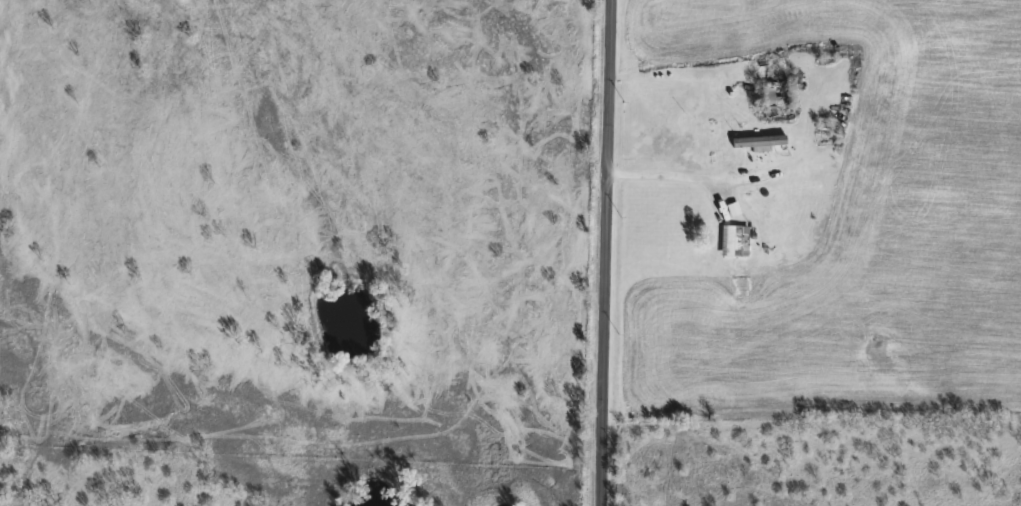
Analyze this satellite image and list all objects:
building: (775, 98)
building: (741, 150)
road: (720, 181)
building: (810, 235)
building: (734, 241)
road: (604, 253)

